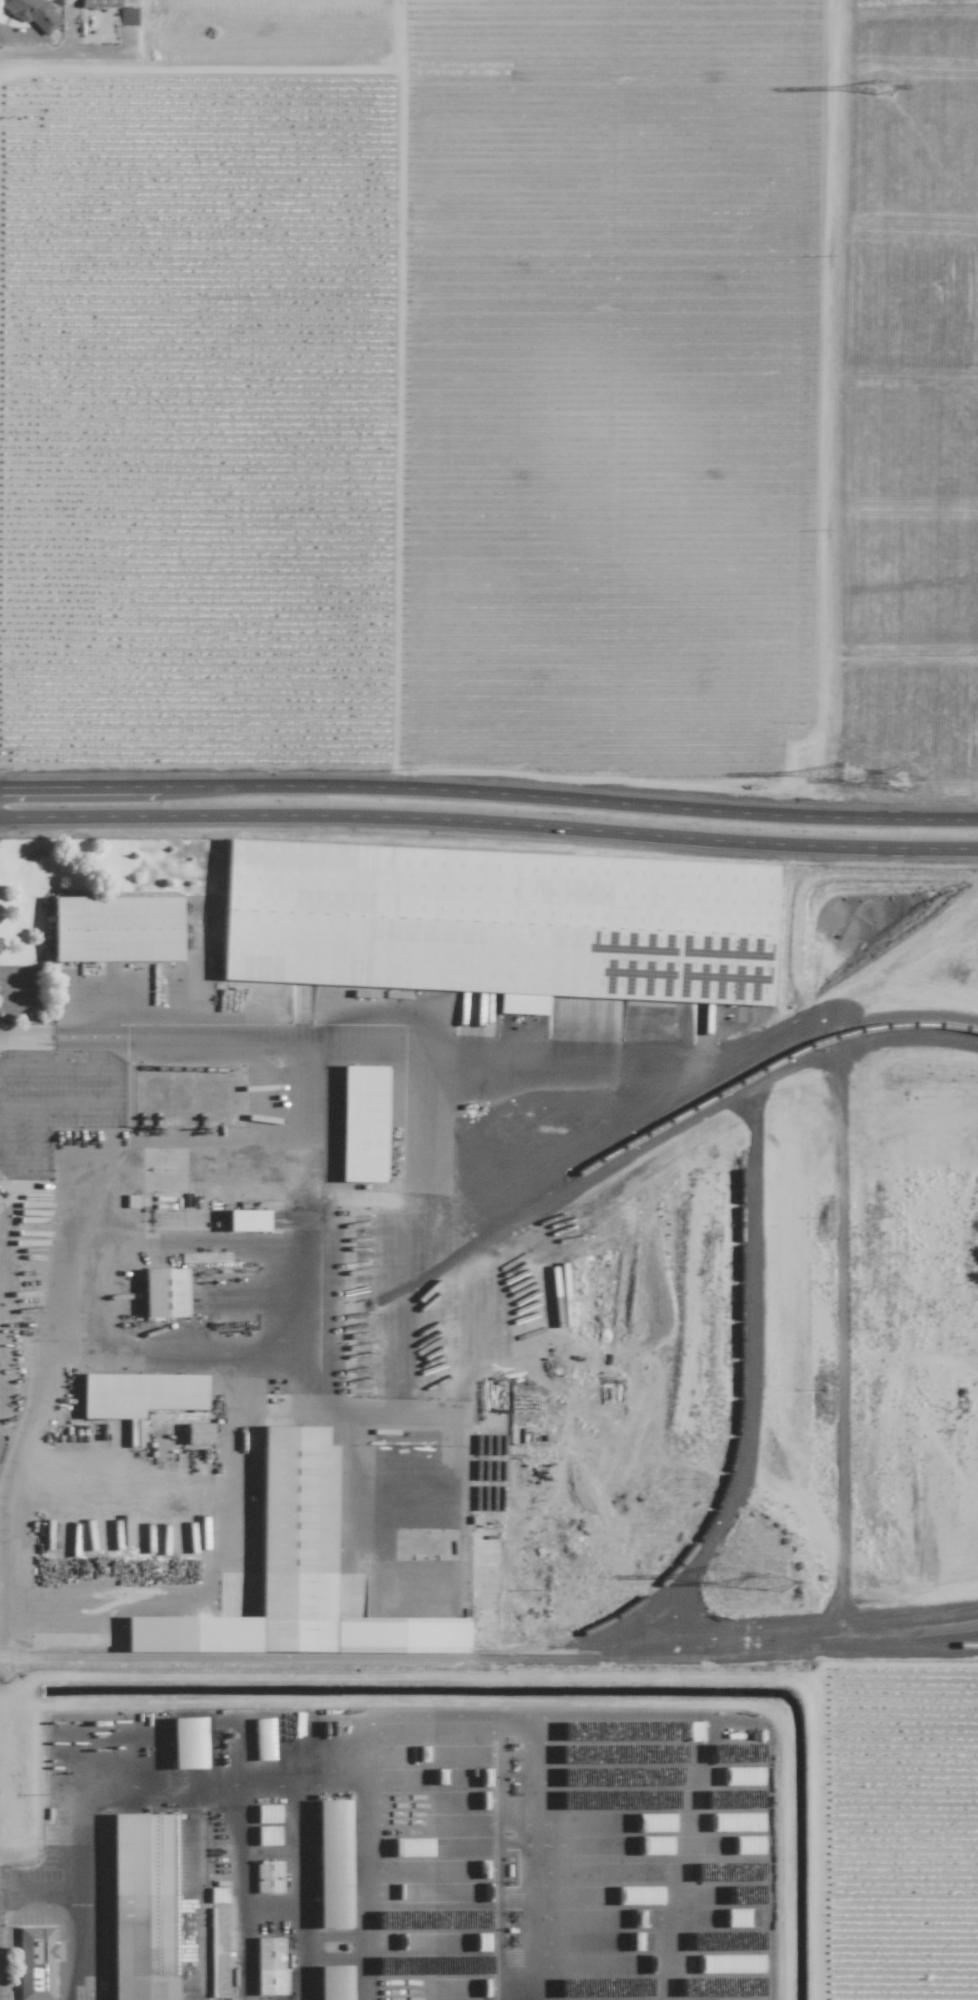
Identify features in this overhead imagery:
building: (99, 3)
building: (32, 13)
power tower: (877, 89)
power tower: (850, 773)
power tower: (897, 779)
road: (489, 794)
road: (489, 822)
building: (498, 923)
building: (115, 928)
road: (10, 973)
road: (855, 1032)
road: (370, 1036)
road: (130, 1088)
road: (109, 1108)
building: (362, 1123)
road: (5, 1158)
road: (2, 1171)
building: (135, 1201)
road: (70, 1212)
building: (246, 1220)
building: (164, 1292)
road: (264, 1367)
building: (139, 1394)
building: (198, 1433)
building: (296, 1574)
power tower: (725, 1576)
power tower: (772, 1583)
building: (694, 1731)
building: (262, 1739)
building: (187, 1743)
building: (735, 1752)
building: (638, 1776)
building: (741, 1776)
building: (481, 1777)
building: (476, 1800)
building: (267, 1813)
building: (647, 1822)
building: (476, 1823)
building: (267, 1835)
building: (625, 1845)
building: (731, 1845)
building: (455, 1846)
building: (332, 1864)
building: (477, 1869)
building: (644, 1872)
building: (267, 1877)
road: (81, 1888)
road: (44, 1891)
building: (217, 1895)
building: (638, 1895)
building: (142, 1906)
building: (648, 1918)
building: (726, 1940)
building: (609, 1941)
building: (35, 1963)
building: (641, 1964)
building: (728, 1964)
building: (333, 1983)
building: (749, 1986)
building: (479, 1988)

